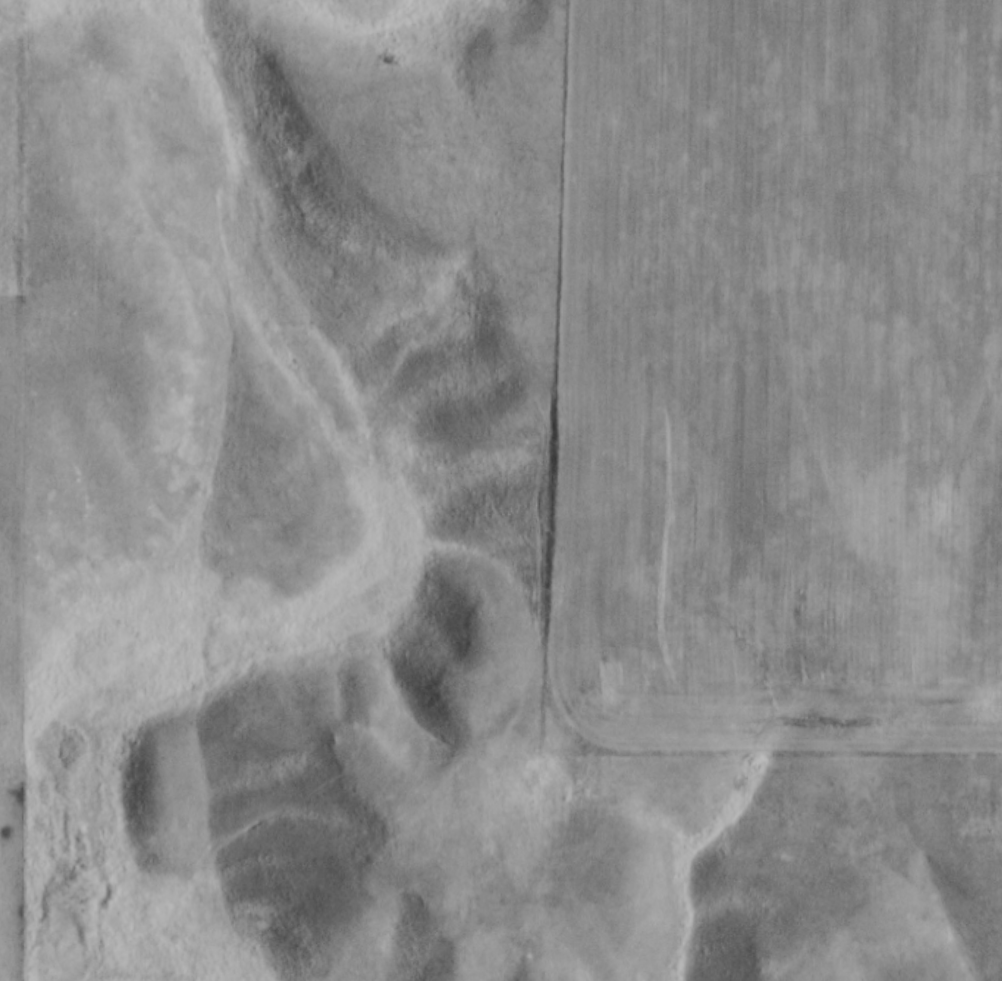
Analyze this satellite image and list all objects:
quarry: (25, 838)

